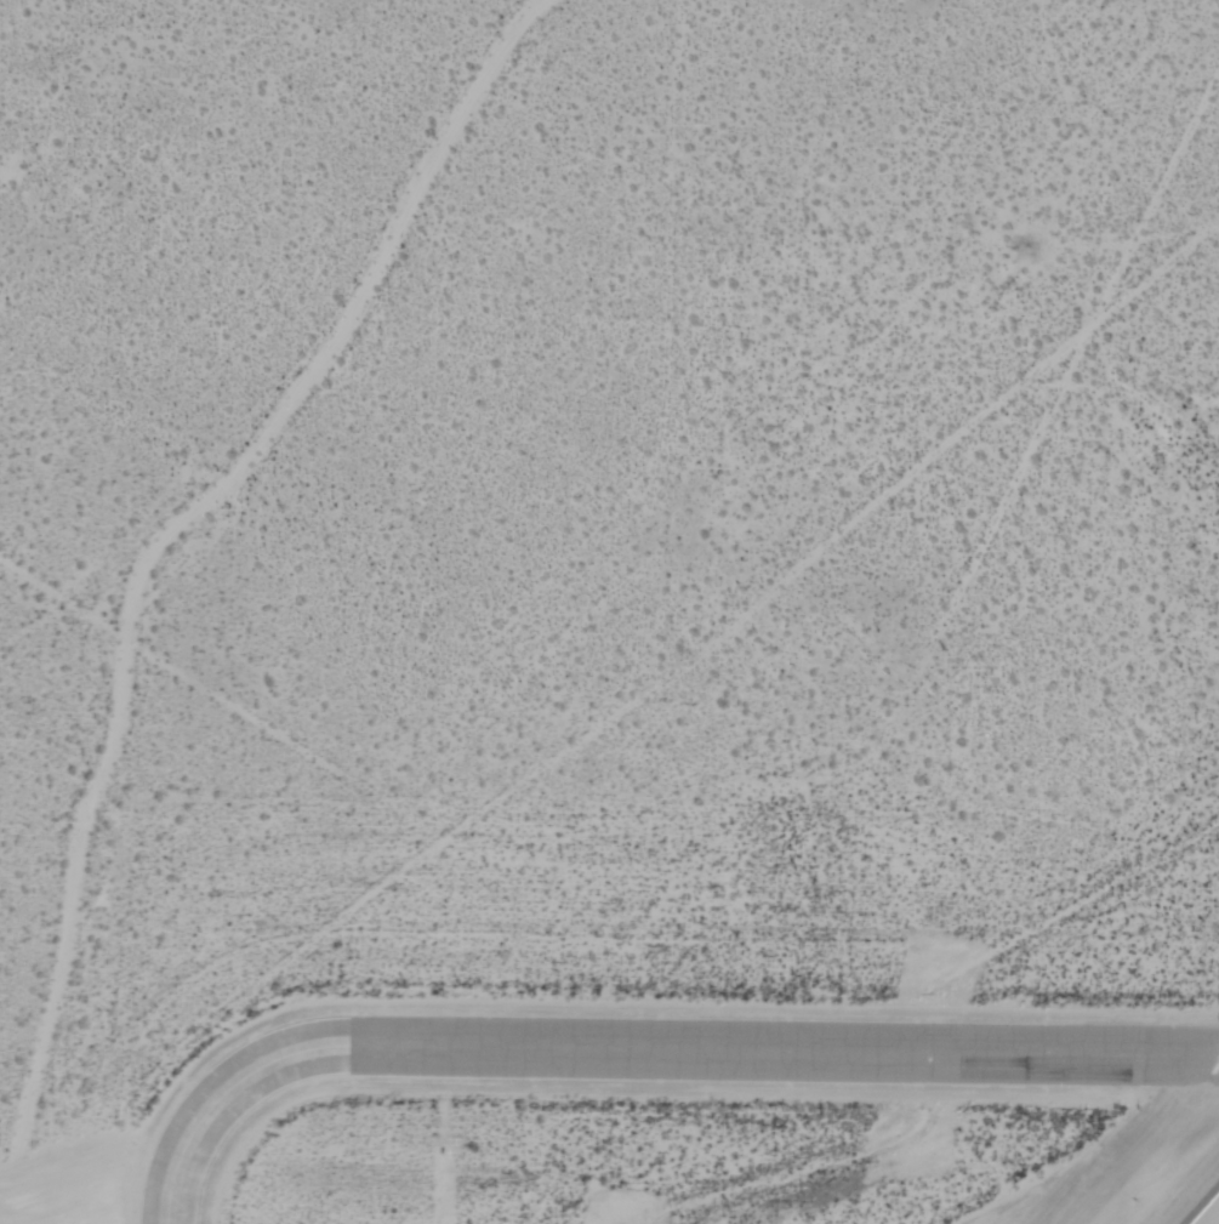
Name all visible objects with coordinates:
airport: (609, 611)
airport taxiway: (640, 1049)

